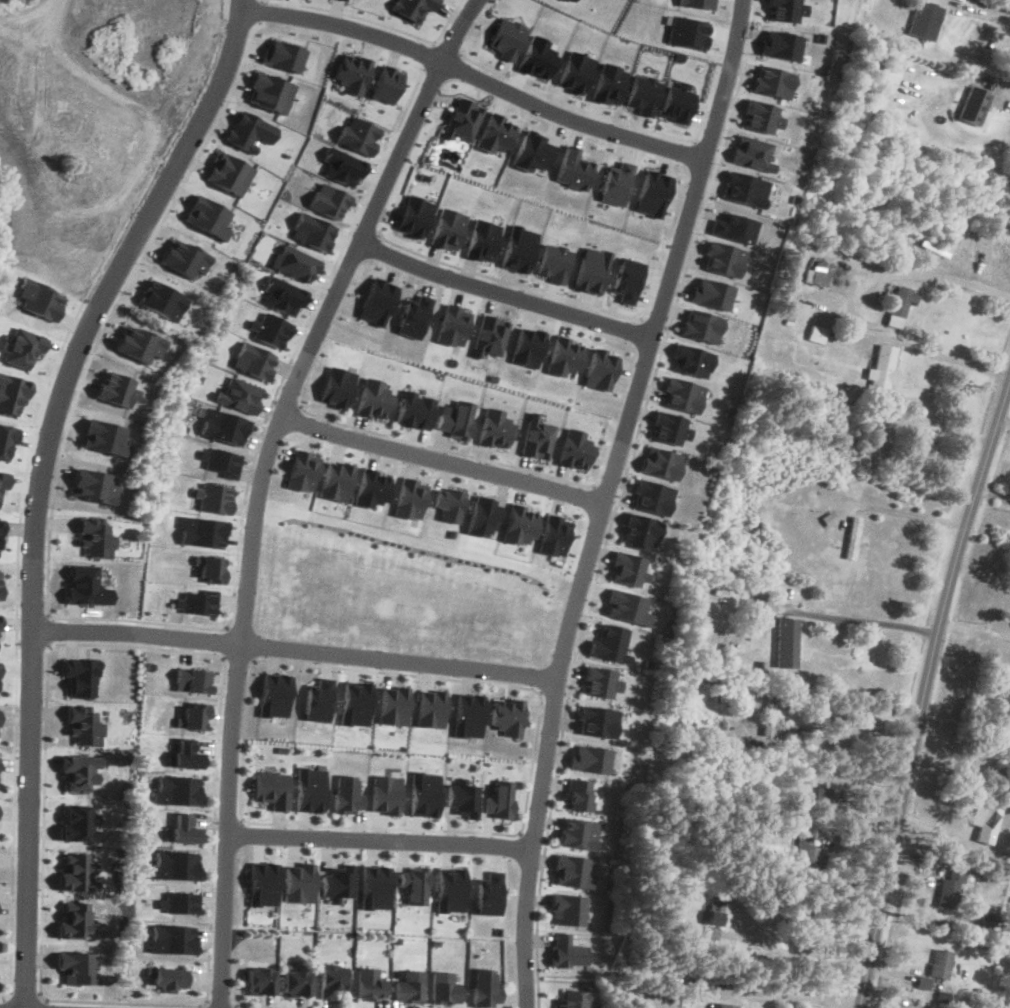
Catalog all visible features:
building: (924, 19)
road: (977, 42)
road: (473, 76)
building: (973, 105)
building: (817, 272)
road: (925, 274)
road: (503, 293)
building: (899, 305)
building: (816, 334)
road: (934, 347)
road: (295, 350)
building: (883, 368)
road: (286, 403)
road: (1004, 414)
road: (444, 448)
road: (441, 459)
road: (260, 481)
road: (41, 482)
road: (992, 491)
road: (602, 498)
road: (916, 515)
road: (49, 535)
building: (851, 537)
road: (593, 579)
road: (878, 621)
road: (48, 629)
road: (975, 629)
road: (224, 640)
building: (786, 642)
road: (295, 649)
road: (238, 658)
road: (925, 687)
building: (708, 706)
road: (863, 712)
road: (14, 735)
building: (823, 800)
building: (987, 824)
road: (944, 830)
road: (512, 833)
road: (379, 839)
building: (806, 856)
building: (950, 888)
building: (714, 910)
road: (819, 961)
building: (940, 963)
building: (331, 979)
building: (260, 980)
building: (296, 982)
building: (369, 983)
building: (410, 985)
road: (807, 995)
road: (203, 1002)
road: (217, 1003)
road: (202, 1005)
road: (235, 1006)
road: (246, 1007)

